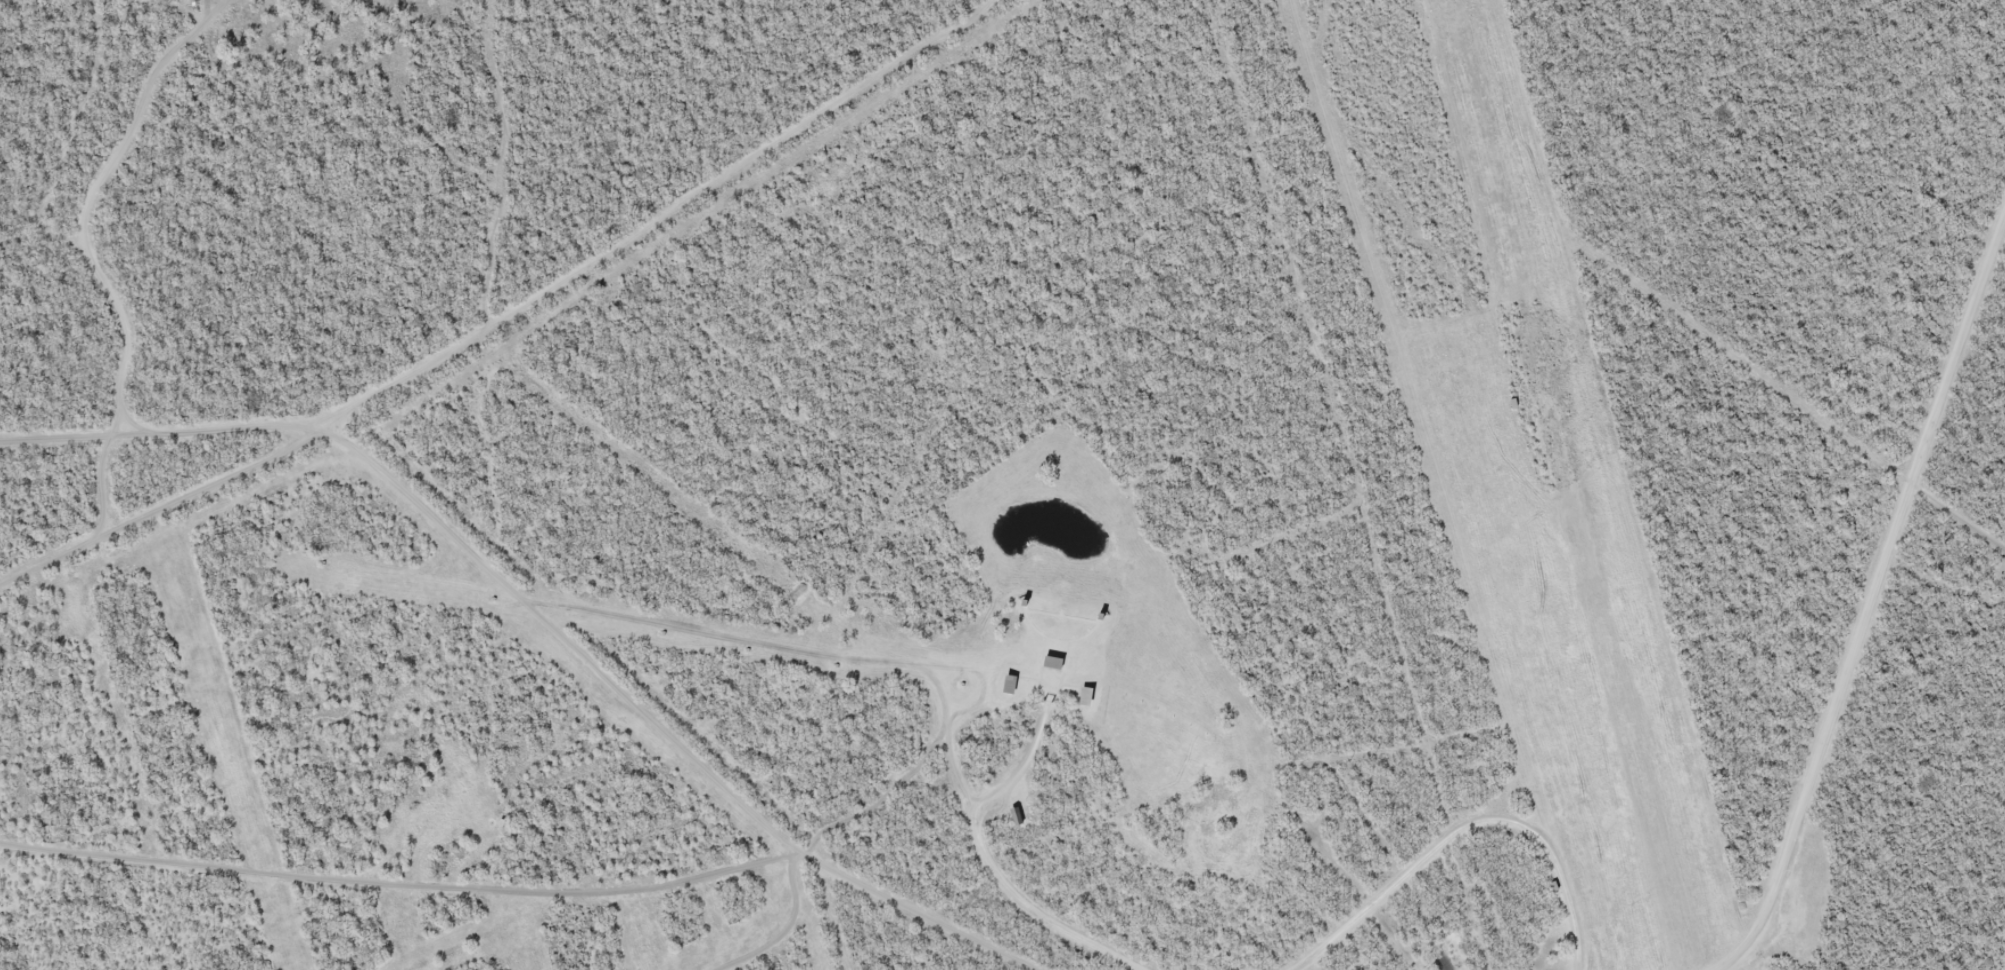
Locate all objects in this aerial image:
road: (508, 314)
road: (1872, 599)
building: (1054, 662)
building: (1087, 696)
road: (659, 729)
building: (1016, 816)

